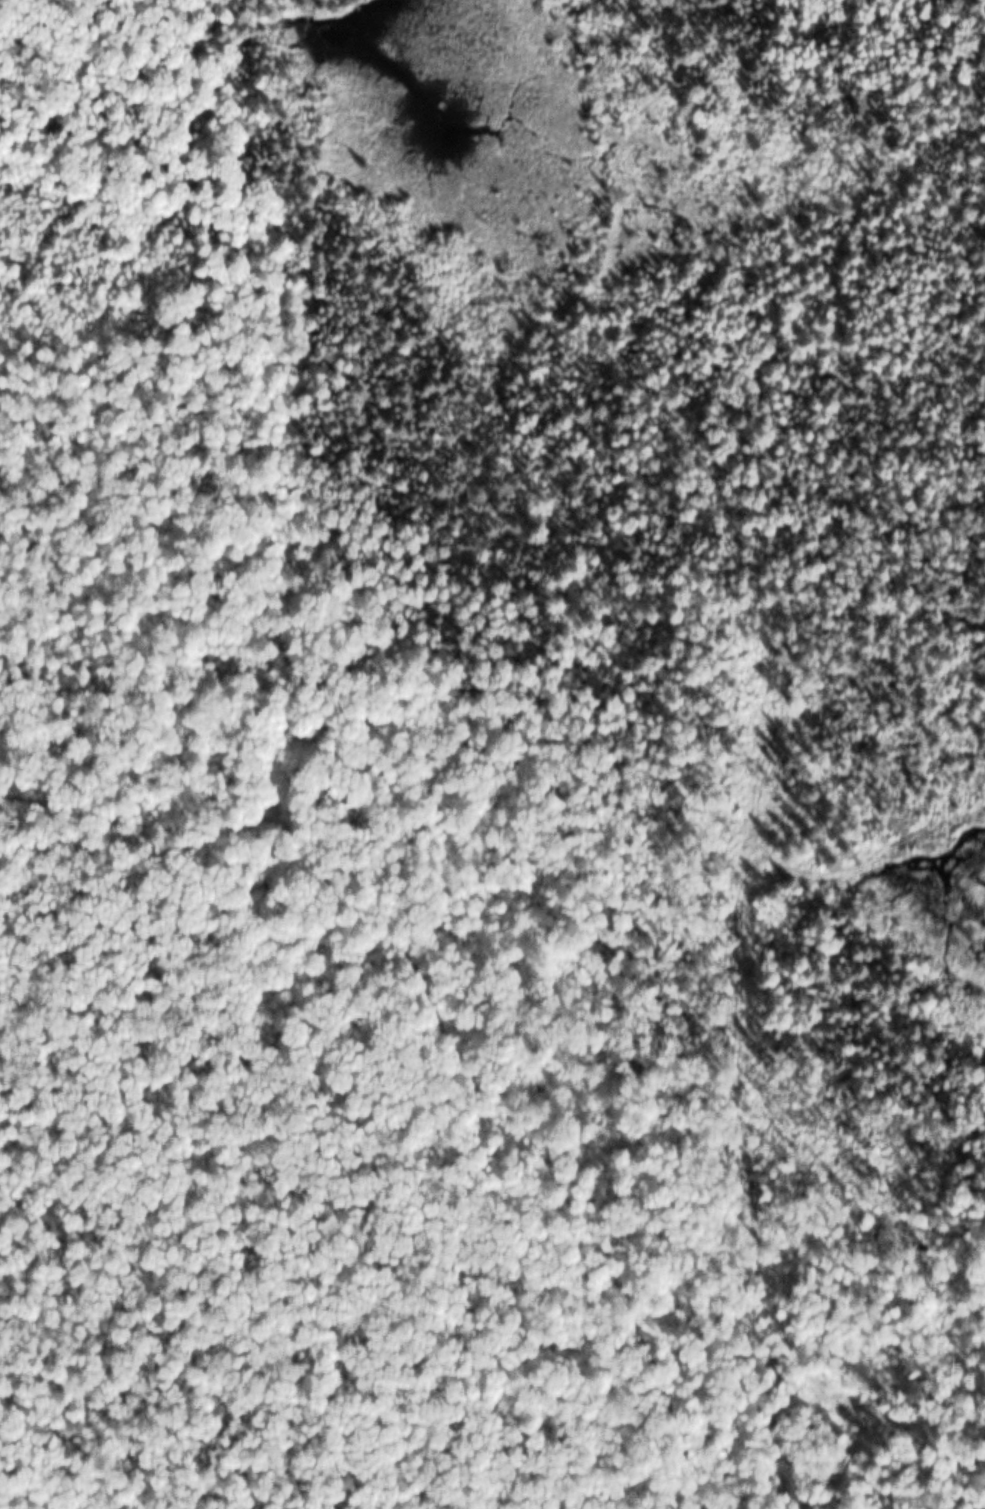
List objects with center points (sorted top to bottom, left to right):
road: (256, 750)

